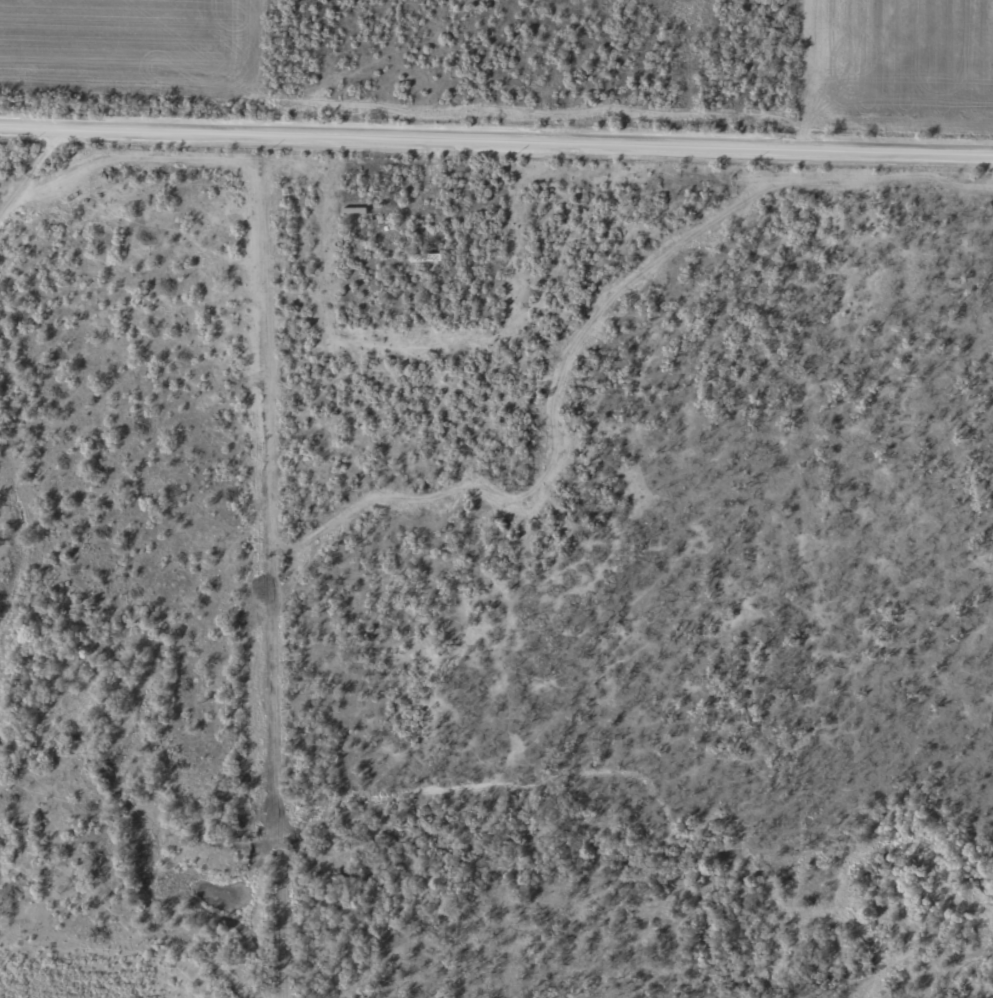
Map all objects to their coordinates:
road: (496, 136)
road: (42, 195)
building: (431, 259)

